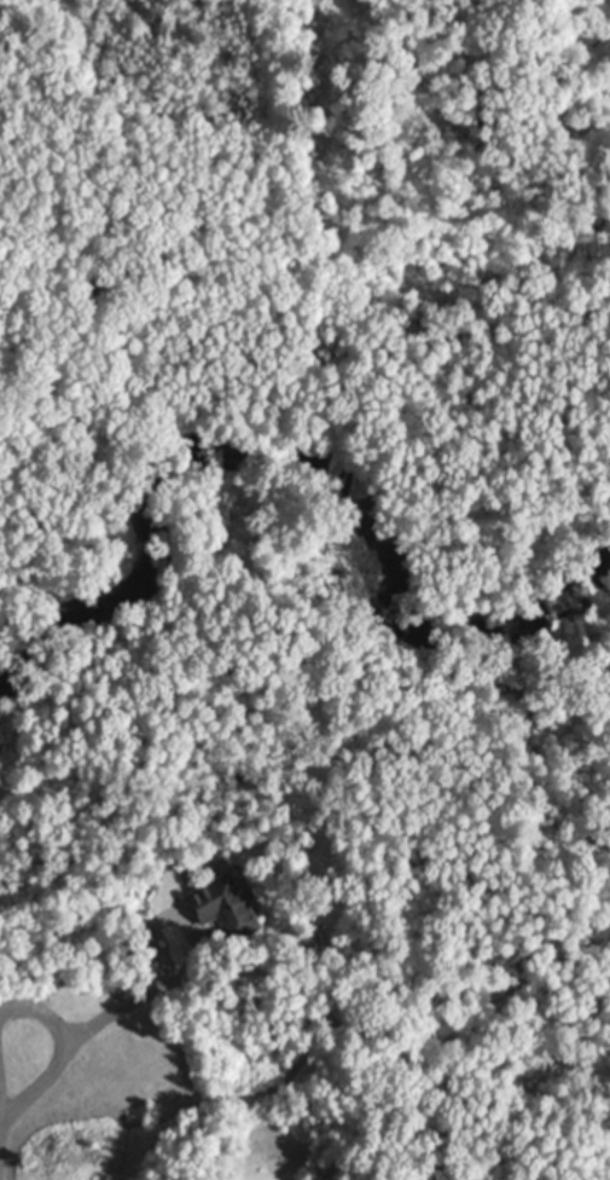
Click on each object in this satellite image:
river: (307, 462)
building: (0, 810)
building: (226, 908)
road: (126, 985)
road: (63, 1052)
road: (0, 1088)
building: (205, 1120)
road: (0, 1127)

